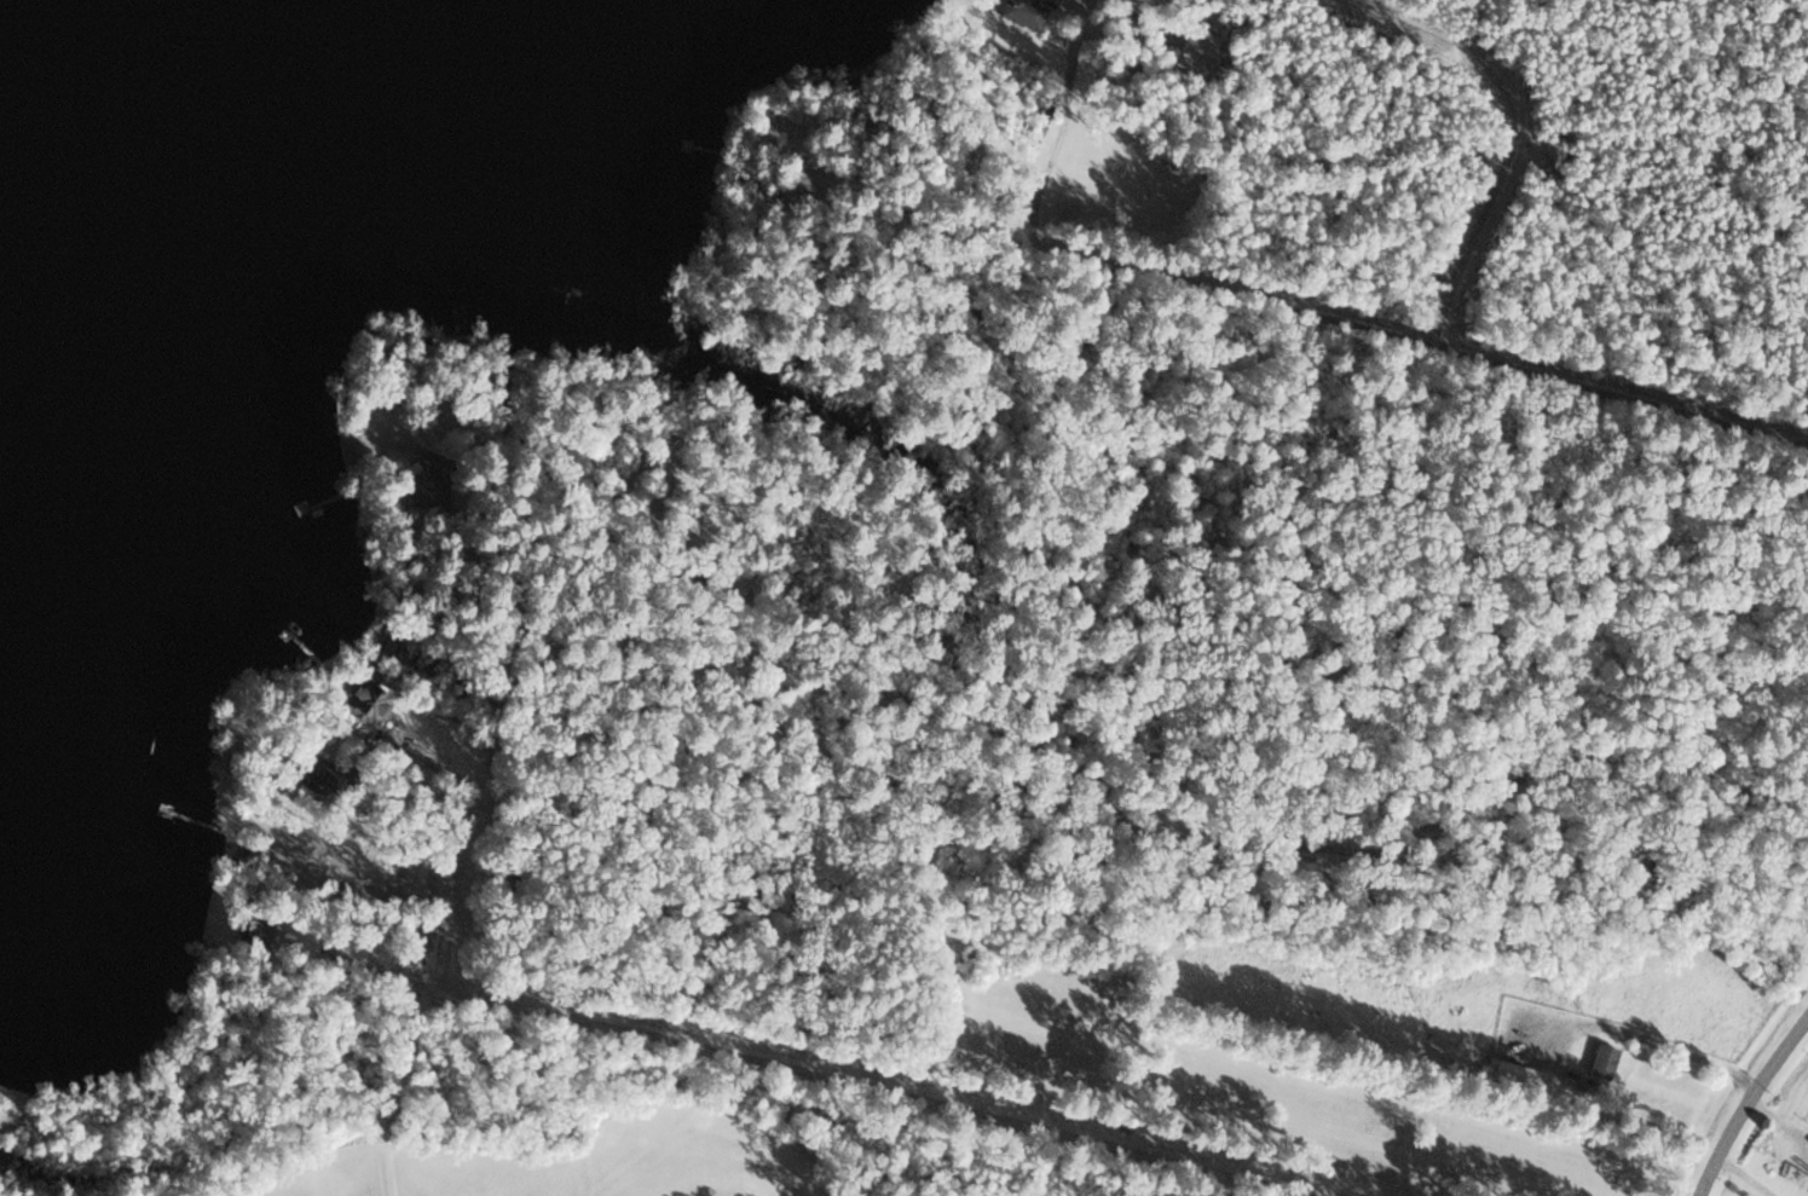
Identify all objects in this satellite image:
building: (1021, 15)
road: (1333, 319)
building: (414, 490)
building: (360, 700)
road: (423, 762)
road: (372, 970)
road: (1639, 1032)
building: (1604, 1058)
building: (1508, 1071)
road: (781, 1075)
road: (1746, 1100)
road: (1746, 1177)

